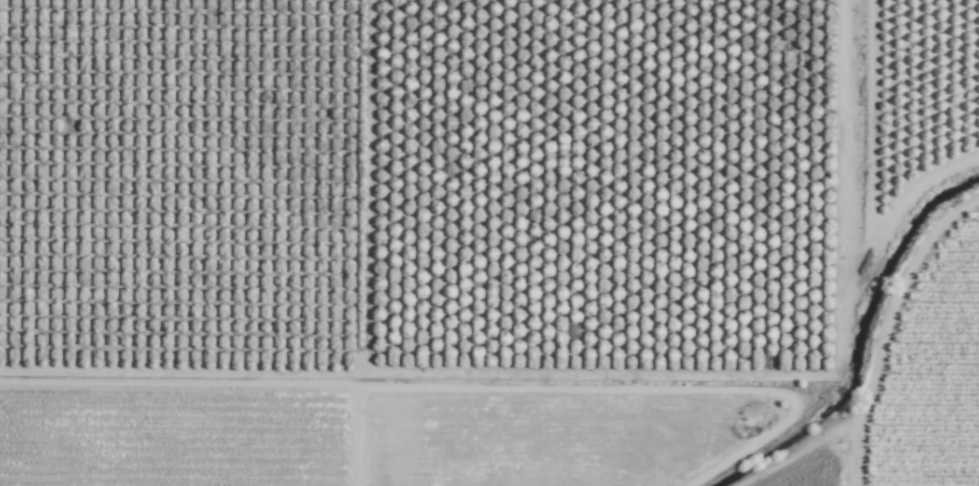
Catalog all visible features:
road: (856, 201)

